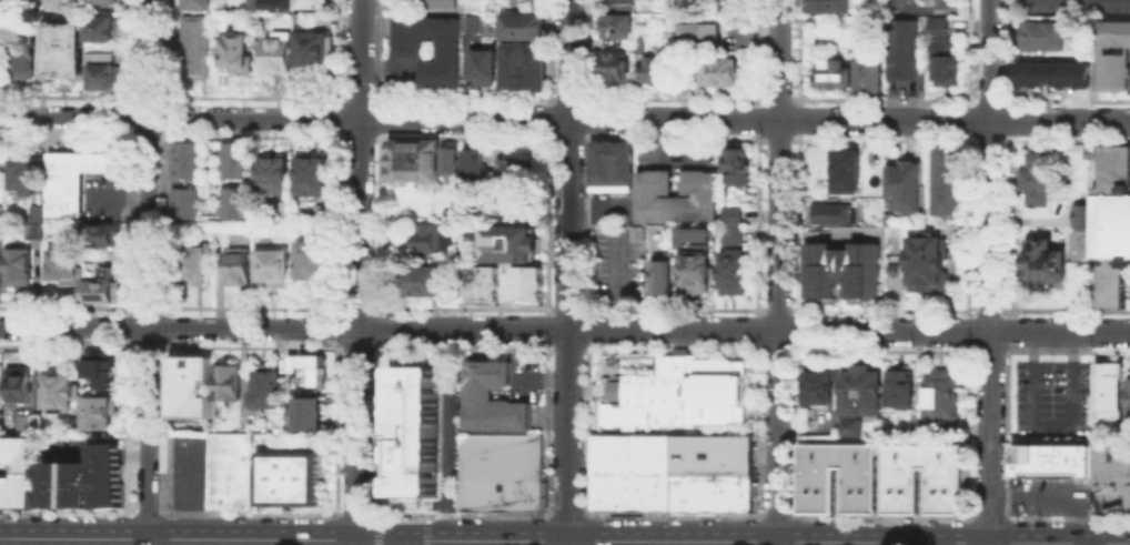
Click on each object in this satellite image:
building: (101, 1)
building: (21, 2)
building: (440, 2)
building: (736, 2)
parking lot: (926, 2)
building: (278, 3)
building: (199, 6)
building: (316, 6)
building: (619, 6)
building: (833, 7)
parking lot: (1072, 7)
building: (475, 26)
building: (523, 29)
building: (619, 29)
building: (103, 30)
building: (702, 38)
building: (1043, 38)
building: (410, 48)
building: (65, 49)
building: (199, 49)
building: (906, 52)
building: (239, 53)
building: (279, 53)
building: (315, 53)
building: (945, 53)
building: (1112, 53)
building: (23, 59)
building: (616, 67)
building: (484, 68)
building: (525, 69)
building: (657, 71)
building: (103, 73)
building: (836, 74)
building: (723, 75)
building: (871, 77)
building: (1053, 77)
road: (564, 118)
building: (185, 155)
building: (235, 157)
building: (415, 162)
building: (453, 163)
building: (477, 164)
building: (611, 164)
building: (735, 168)
building: (845, 169)
building: (517, 172)
building: (314, 176)
building: (275, 178)
building: (28, 180)
building: (1038, 180)
building: (77, 181)
building: (948, 181)
building: (907, 185)
road: (120, 193)
building: (647, 193)
building: (186, 199)
building: (235, 200)
building: (1111, 203)
building: (517, 205)
building: (599, 209)
building: (833, 211)
building: (730, 214)
building: (1079, 215)
building: (457, 216)
building: (1070, 219)
building: (36, 223)
building: (105, 234)
building: (730, 234)
building: (1, 236)
building: (428, 239)
building: (505, 242)
building: (926, 263)
parking lot: (616, 264)
building: (1048, 264)
building: (1, 265)
building: (67, 265)
building: (275, 266)
building: (21, 268)
building: (240, 268)
building: (313, 268)
building: (695, 268)
road: (149, 269)
building: (194, 269)
building: (839, 269)
road: (359, 270)
road: (567, 270)
building: (732, 270)
road: (778, 270)
road: (989, 270)
building: (421, 279)
road: (616, 279)
building: (1110, 279)
building: (663, 280)
building: (482, 284)
building: (526, 284)
building: (105, 285)
building: (1, 292)
road: (565, 327)
building: (292, 362)
building: (100, 367)
building: (311, 369)
building: (1108, 375)
building: (226, 381)
building: (17, 383)
building: (189, 385)
building: (821, 386)
building: (264, 387)
building: (57, 388)
building: (902, 388)
building: (674, 391)
building: (858, 394)
building: (491, 397)
building: (940, 400)
building: (1128, 400)
building: (95, 411)
building: (307, 413)
building: (31, 424)
road: (1050, 425)
building: (413, 430)
building: (632, 453)
building: (712, 454)
building: (228, 470)
building: (16, 471)
building: (503, 471)
building: (1104, 473)
building: (286, 477)
building: (83, 480)
building: (816, 490)
building: (944, 490)
building: (630, 491)
building: (712, 492)
road: (1053, 493)
road: (178, 538)
traffic signals: (372, 539)
road: (380, 539)
traffic signals: (428, 539)
road: (767, 541)
road: (404, 542)
road: (909, 543)
road: (1079, 544)
road: (1116, 544)

